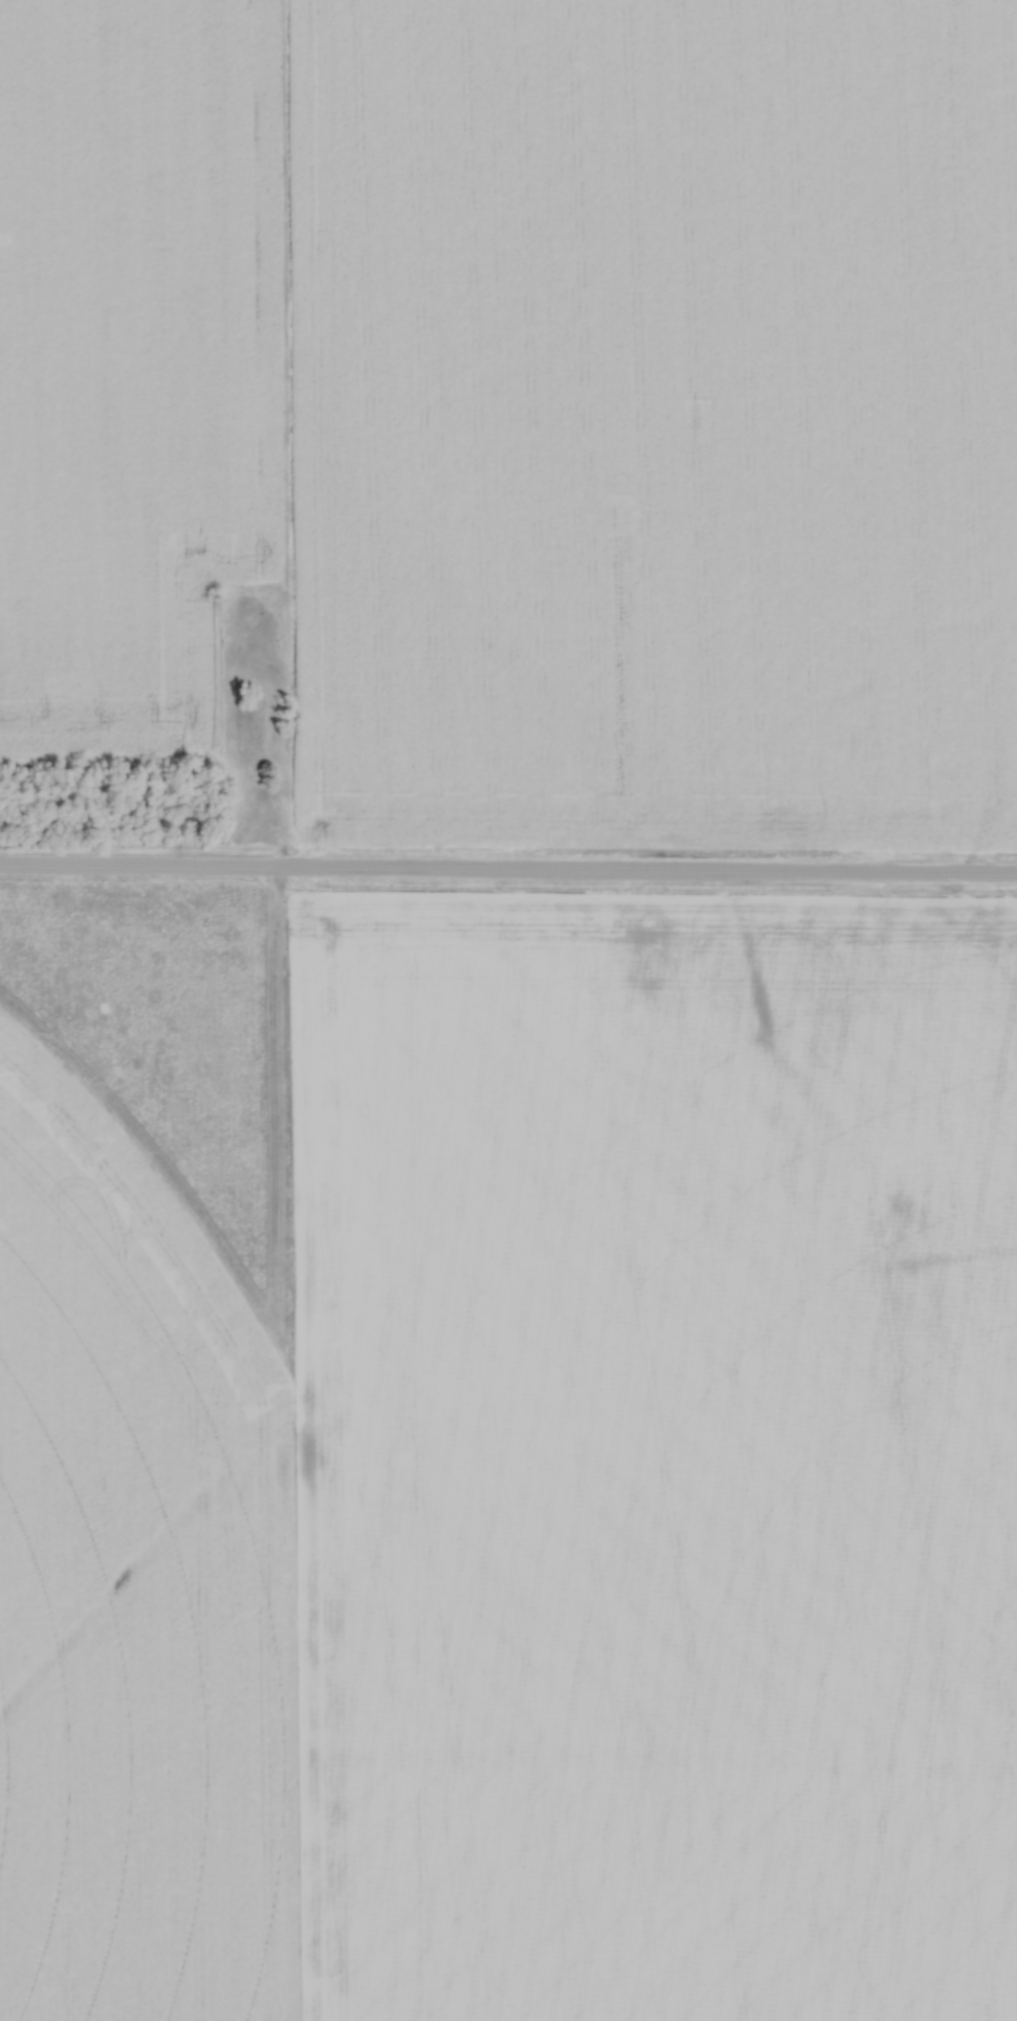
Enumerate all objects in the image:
road: (508, 874)

